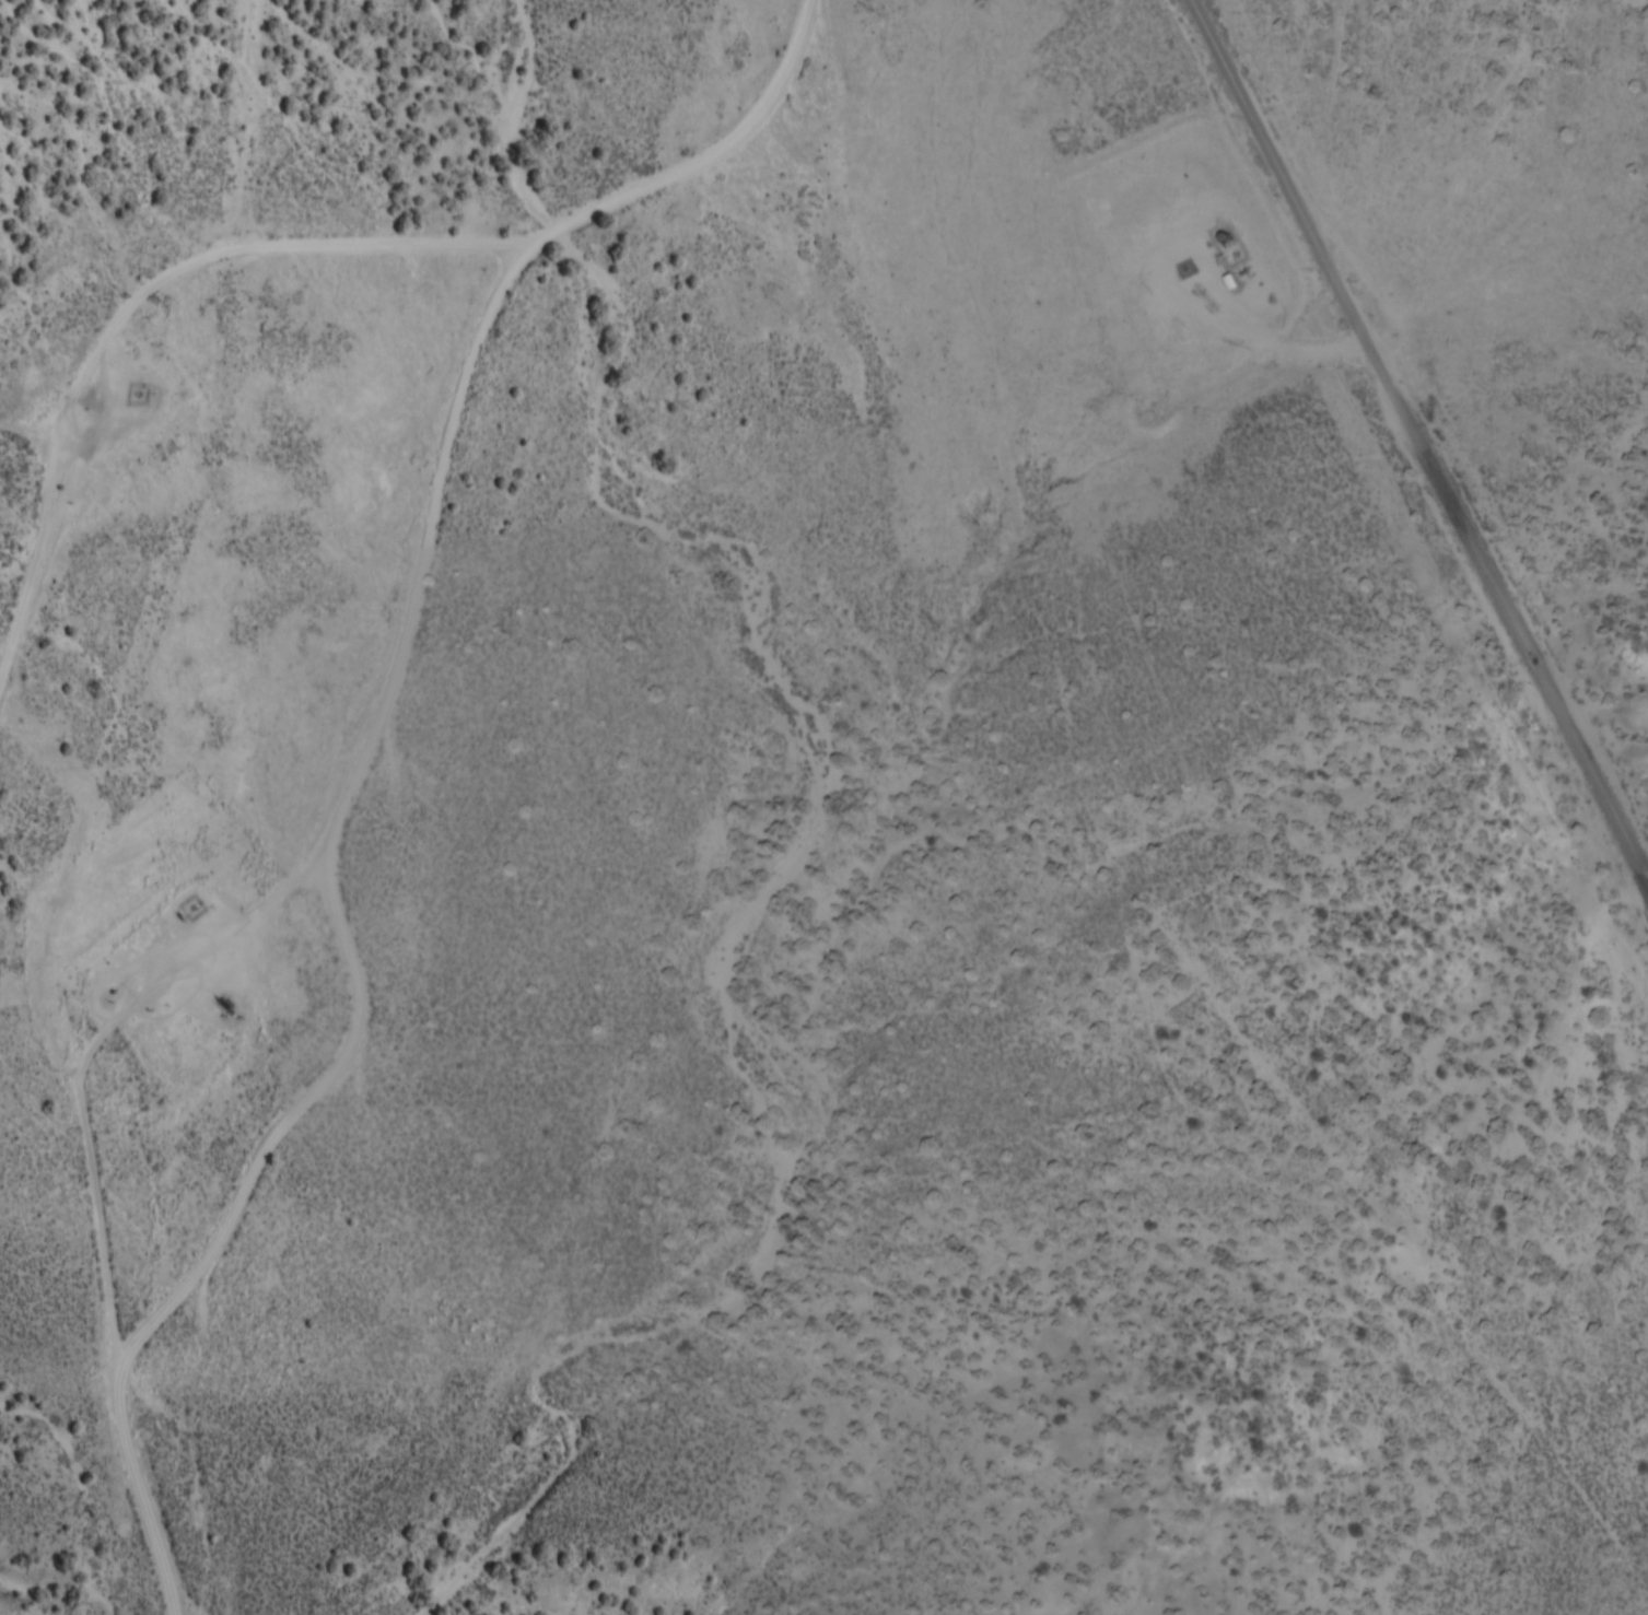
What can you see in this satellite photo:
road: (1192, 299)
road: (258, 342)
road: (1421, 433)
road: (409, 615)
road: (113, 876)
road: (28, 1023)
road: (118, 1248)

